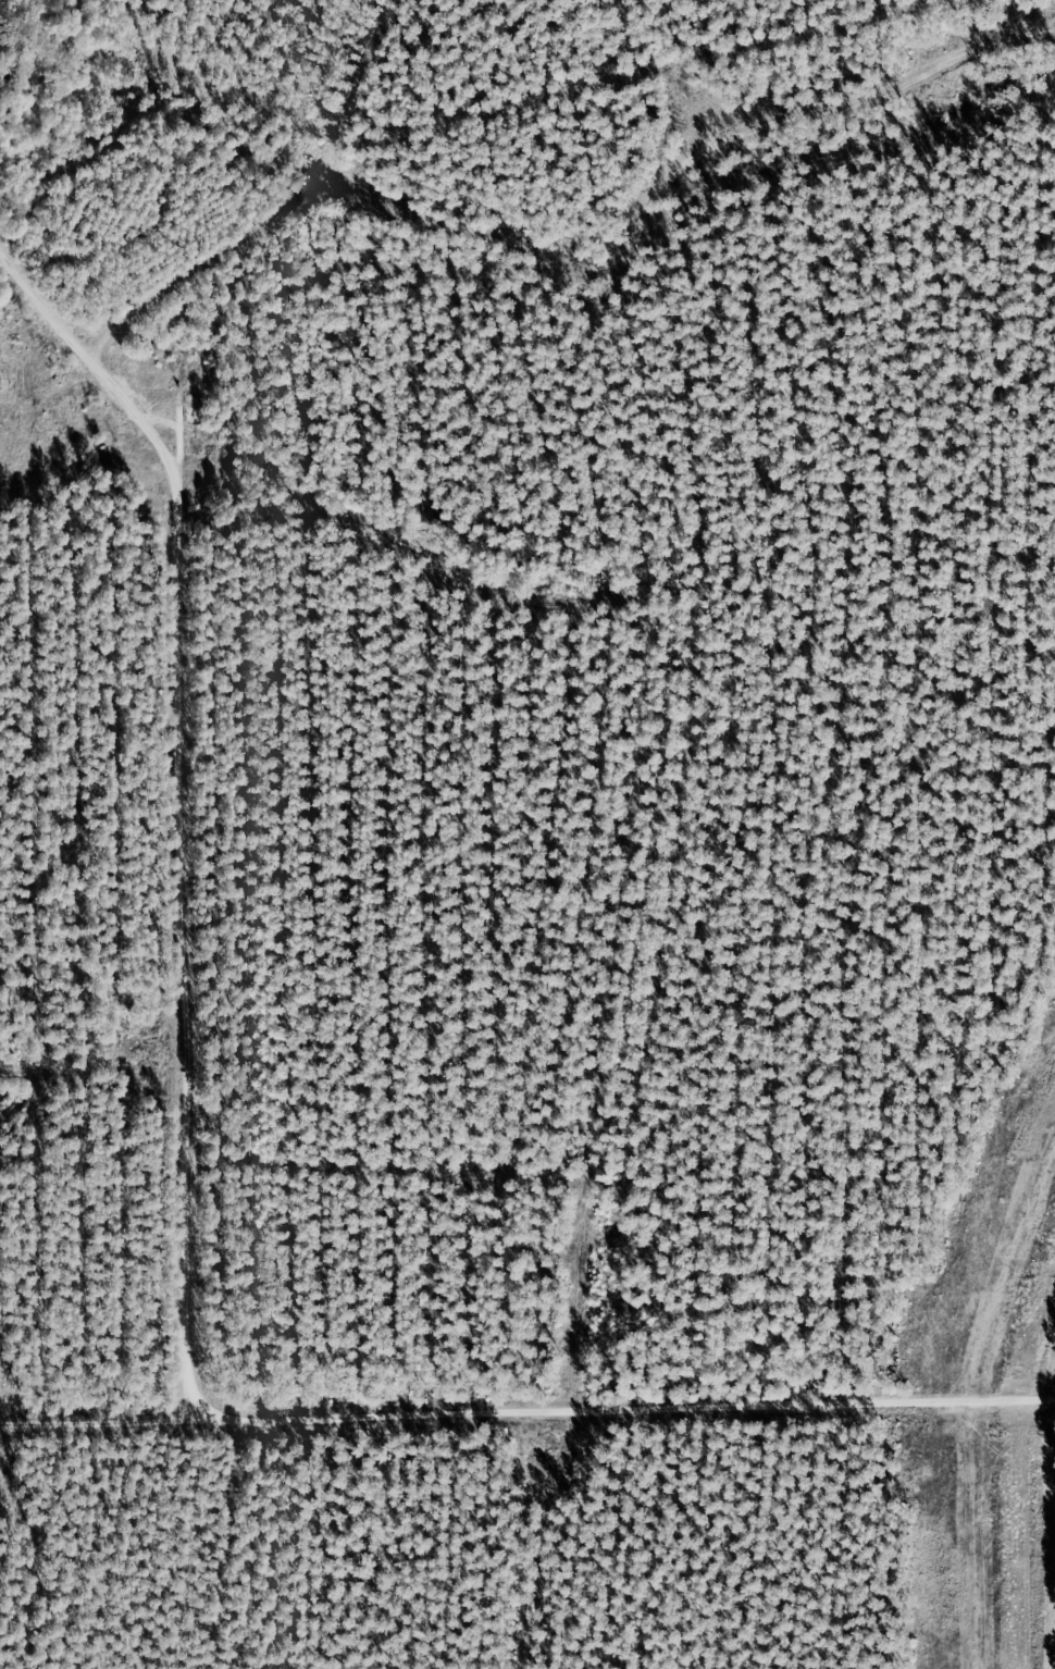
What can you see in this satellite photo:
road: (672, 185)
road: (283, 213)
road: (196, 809)
road: (527, 1423)

